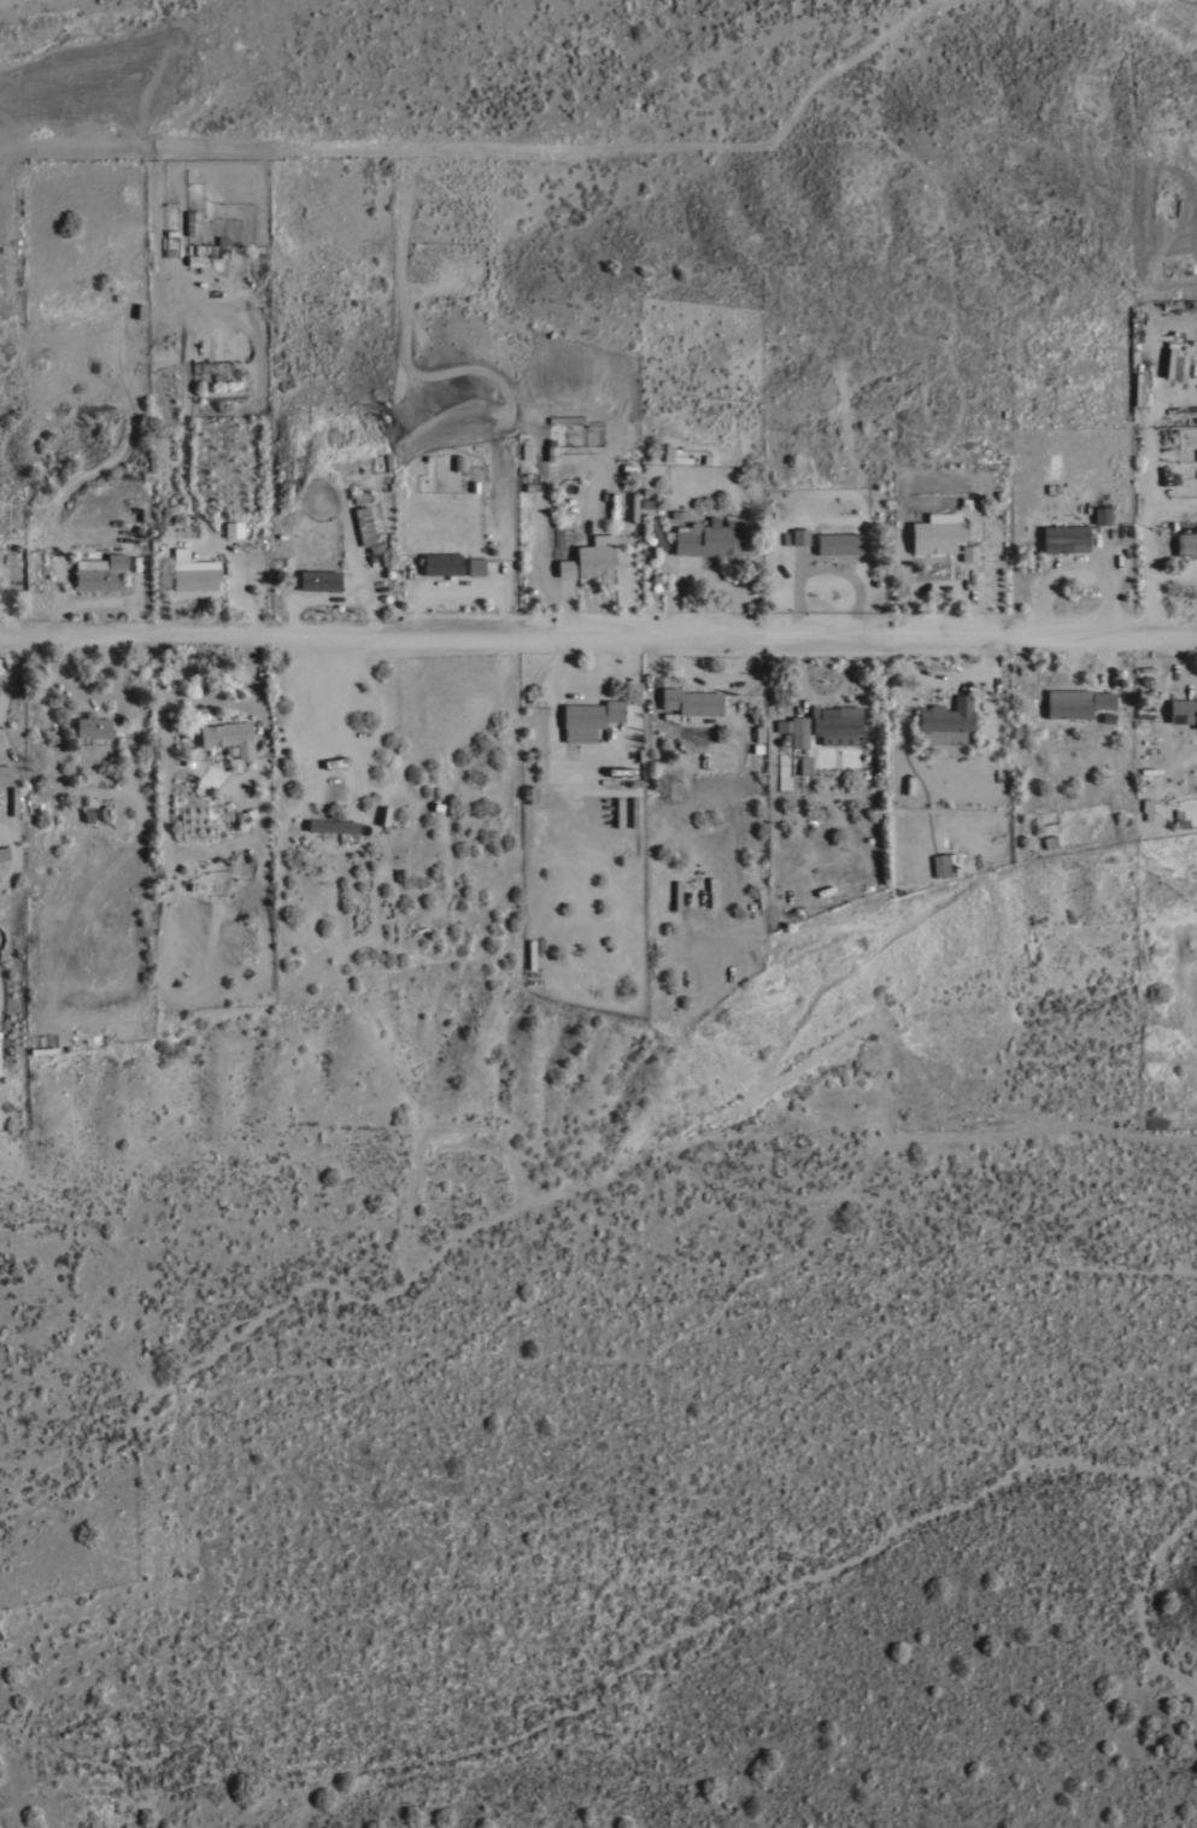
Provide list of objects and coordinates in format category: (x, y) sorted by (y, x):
building: (193, 222)
building: (1174, 359)
building: (223, 393)
building: (670, 452)
building: (371, 514)
building: (1102, 514)
building: (233, 528)
building: (366, 529)
building: (935, 531)
building: (656, 533)
building: (799, 535)
building: (708, 537)
building: (1064, 537)
building: (838, 541)
building: (1186, 543)
building: (968, 551)
building: (595, 556)
building: (439, 562)
building: (475, 564)
building: (565, 567)
building: (100, 572)
building: (195, 573)
building: (319, 578)
road: (351, 594)
road: (374, 617)
road: (598, 643)
road: (211, 695)
building: (691, 701)
building: (1075, 701)
building: (1183, 710)
building: (947, 715)
building: (588, 717)
building: (835, 723)
building: (92, 726)
building: (793, 731)
building: (229, 734)
building: (803, 764)
building: (5, 773)
building: (242, 815)
building: (335, 827)
building: (4, 849)
building: (943, 863)
building: (530, 953)

